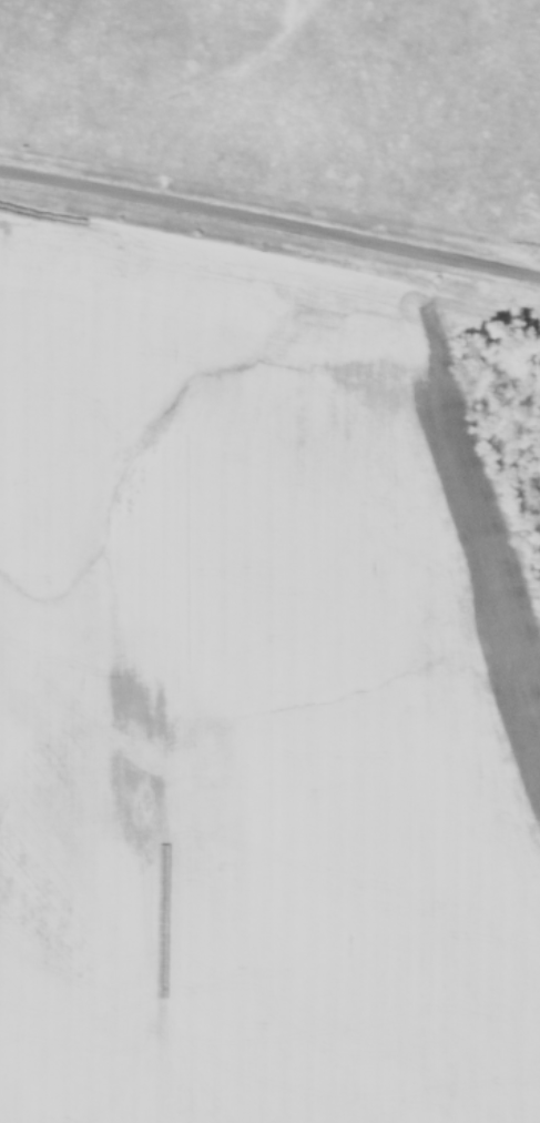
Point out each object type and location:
road: (269, 222)

